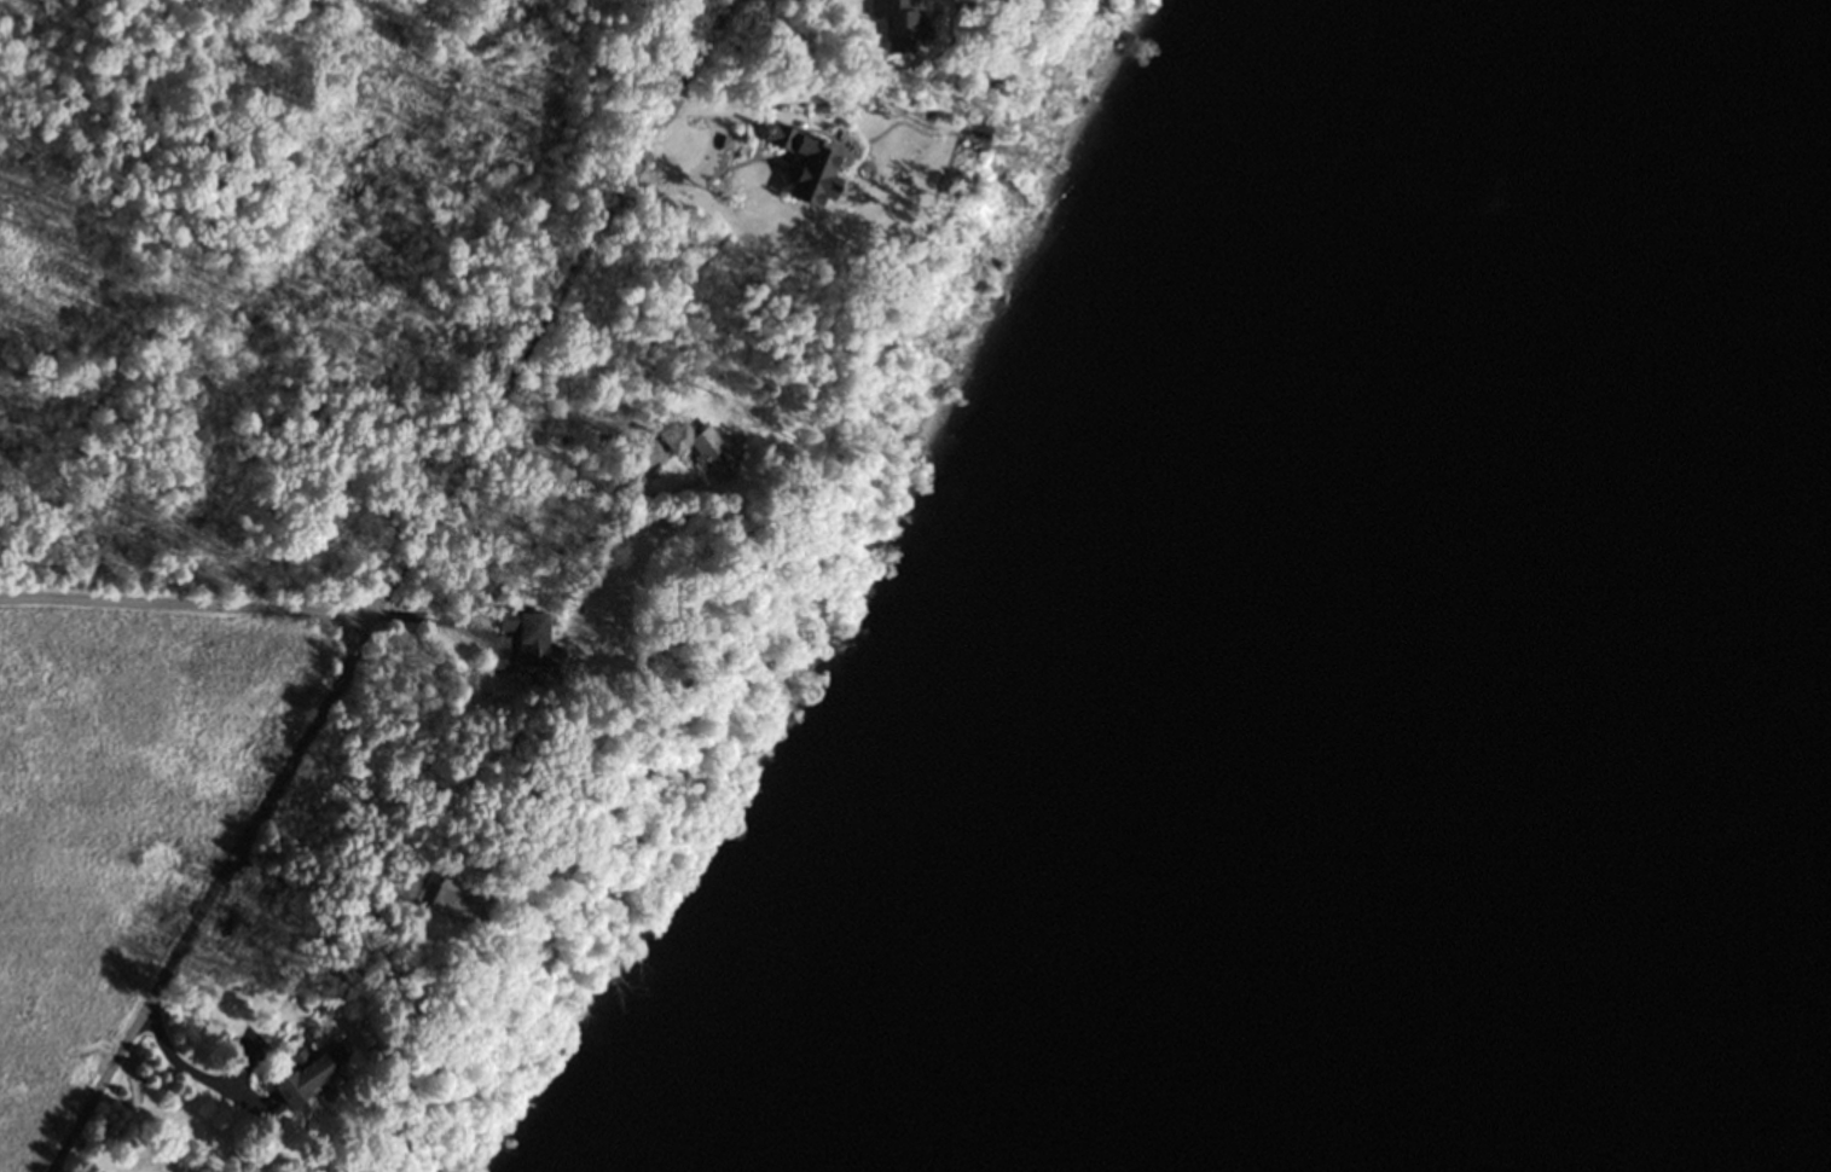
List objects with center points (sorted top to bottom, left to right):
building: (894, 24)
road: (730, 108)
building: (802, 163)
road: (545, 321)
road: (654, 451)
road: (447, 623)
building: (526, 636)
road: (302, 753)
road: (179, 1061)
building: (300, 1074)

